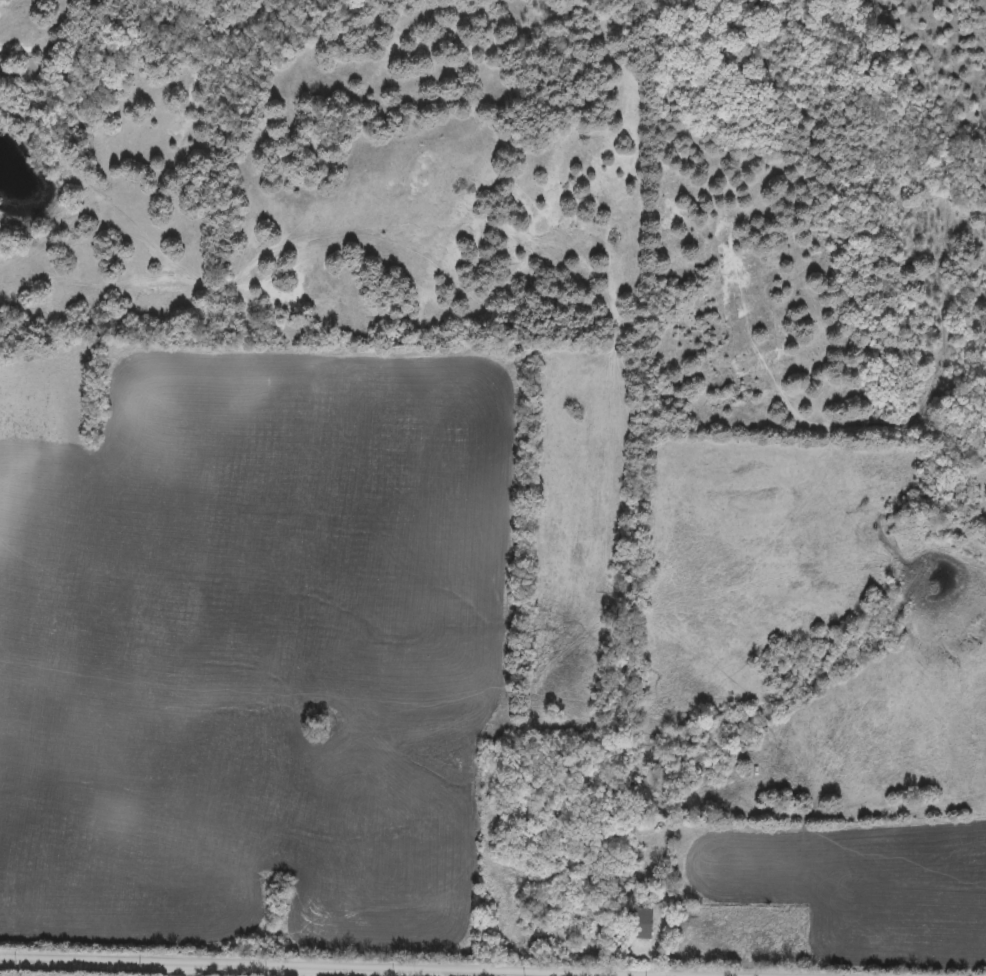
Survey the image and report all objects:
building: (631, 875)
building: (642, 921)
road: (281, 967)

